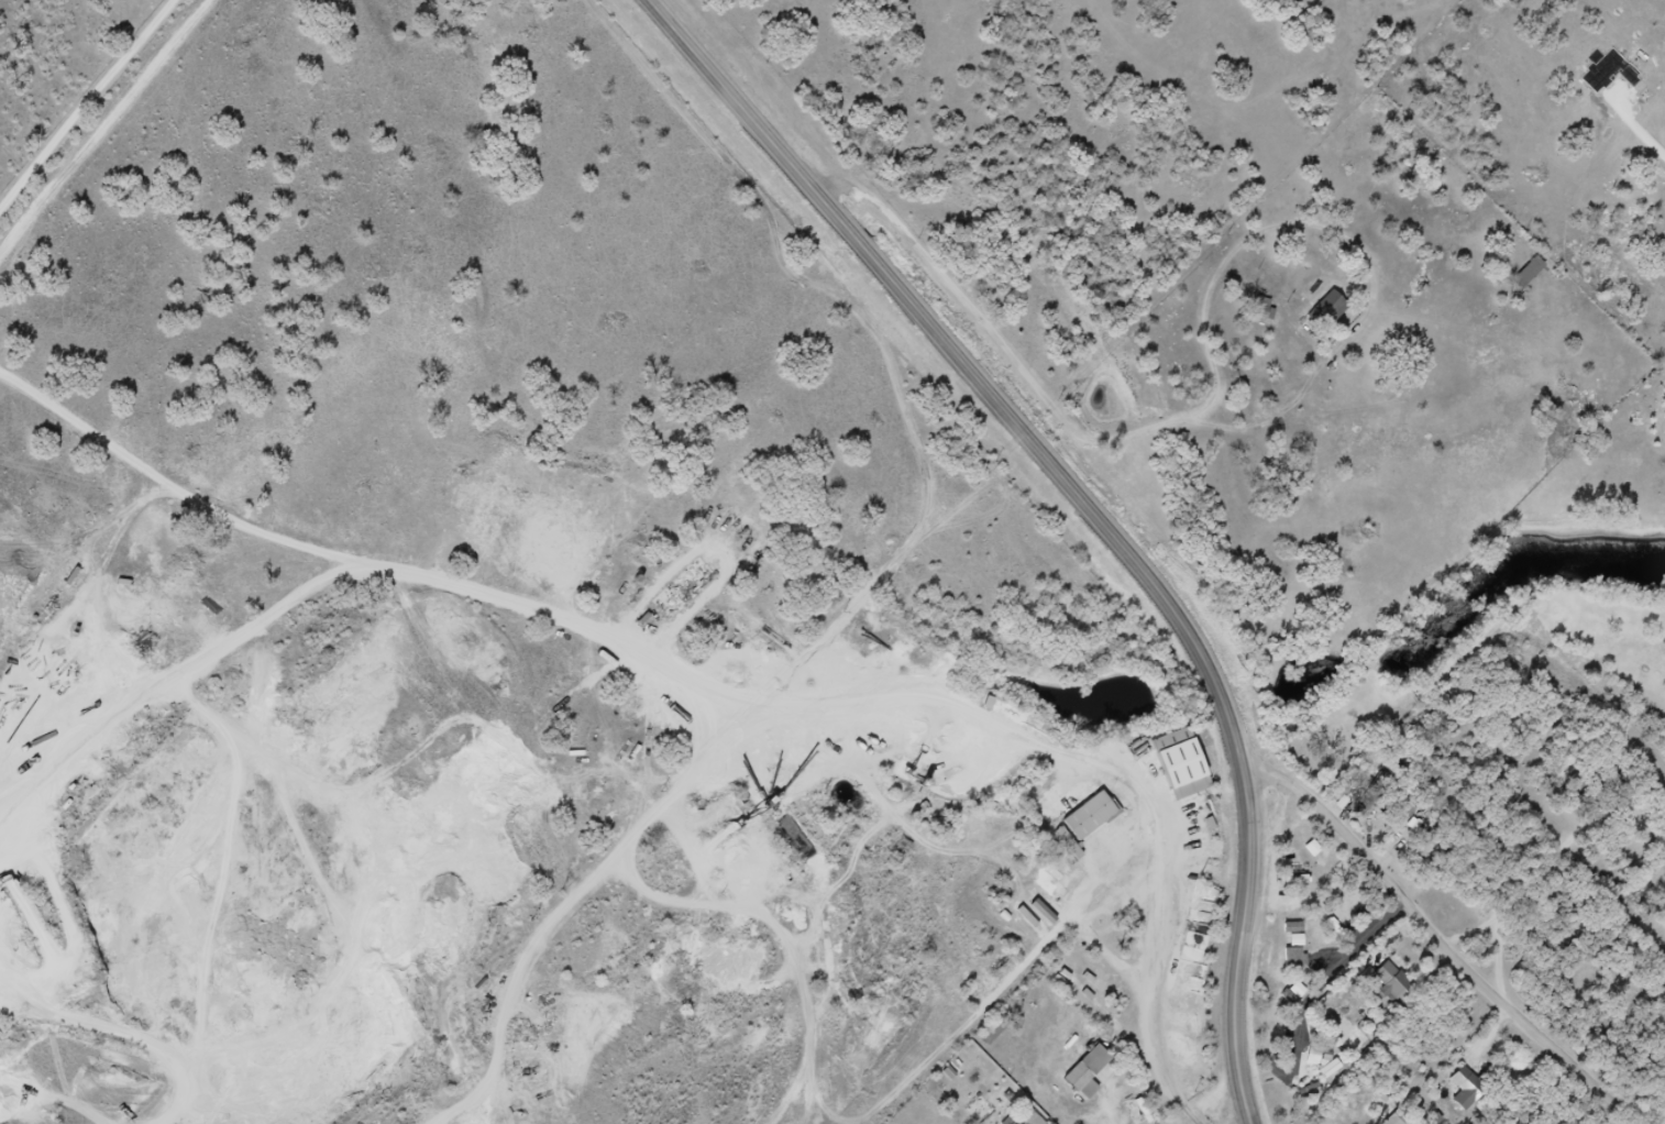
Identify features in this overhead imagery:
road: (87, 106)
road: (748, 108)
building: (1529, 274)
building: (1264, 309)
building: (1327, 312)
road: (1181, 616)
road: (868, 703)
building: (1191, 770)
building: (1372, 802)
building: (1099, 823)
building: (1293, 928)
road: (1443, 929)
road: (1391, 930)
building: (1297, 959)
building: (1400, 989)
building: (1325, 1061)
building: (1087, 1073)
building: (1099, 1079)
building: (1477, 1097)
building: (1040, 1121)

